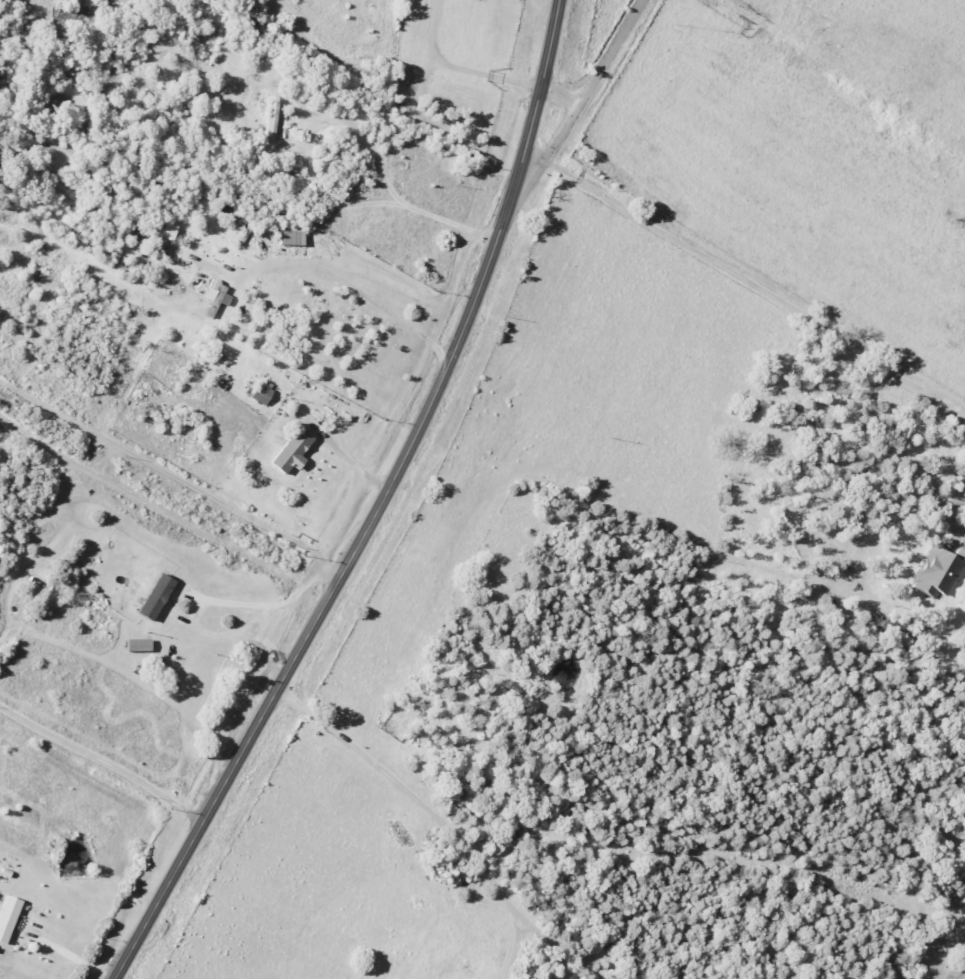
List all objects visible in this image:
building: (190, 33)
road: (594, 83)
building: (270, 121)
road: (341, 124)
building: (4, 154)
building: (47, 160)
building: (165, 230)
building: (291, 236)
road: (744, 282)
road: (396, 285)
building: (217, 300)
road: (379, 305)
building: (260, 393)
building: (291, 452)
road: (174, 474)
road: (950, 497)
road: (376, 506)
building: (938, 570)
building: (154, 597)
road: (208, 601)
building: (137, 645)
road: (269, 645)
road: (100, 762)
road: (437, 819)
building: (7, 917)
road: (508, 948)
road: (70, 958)

